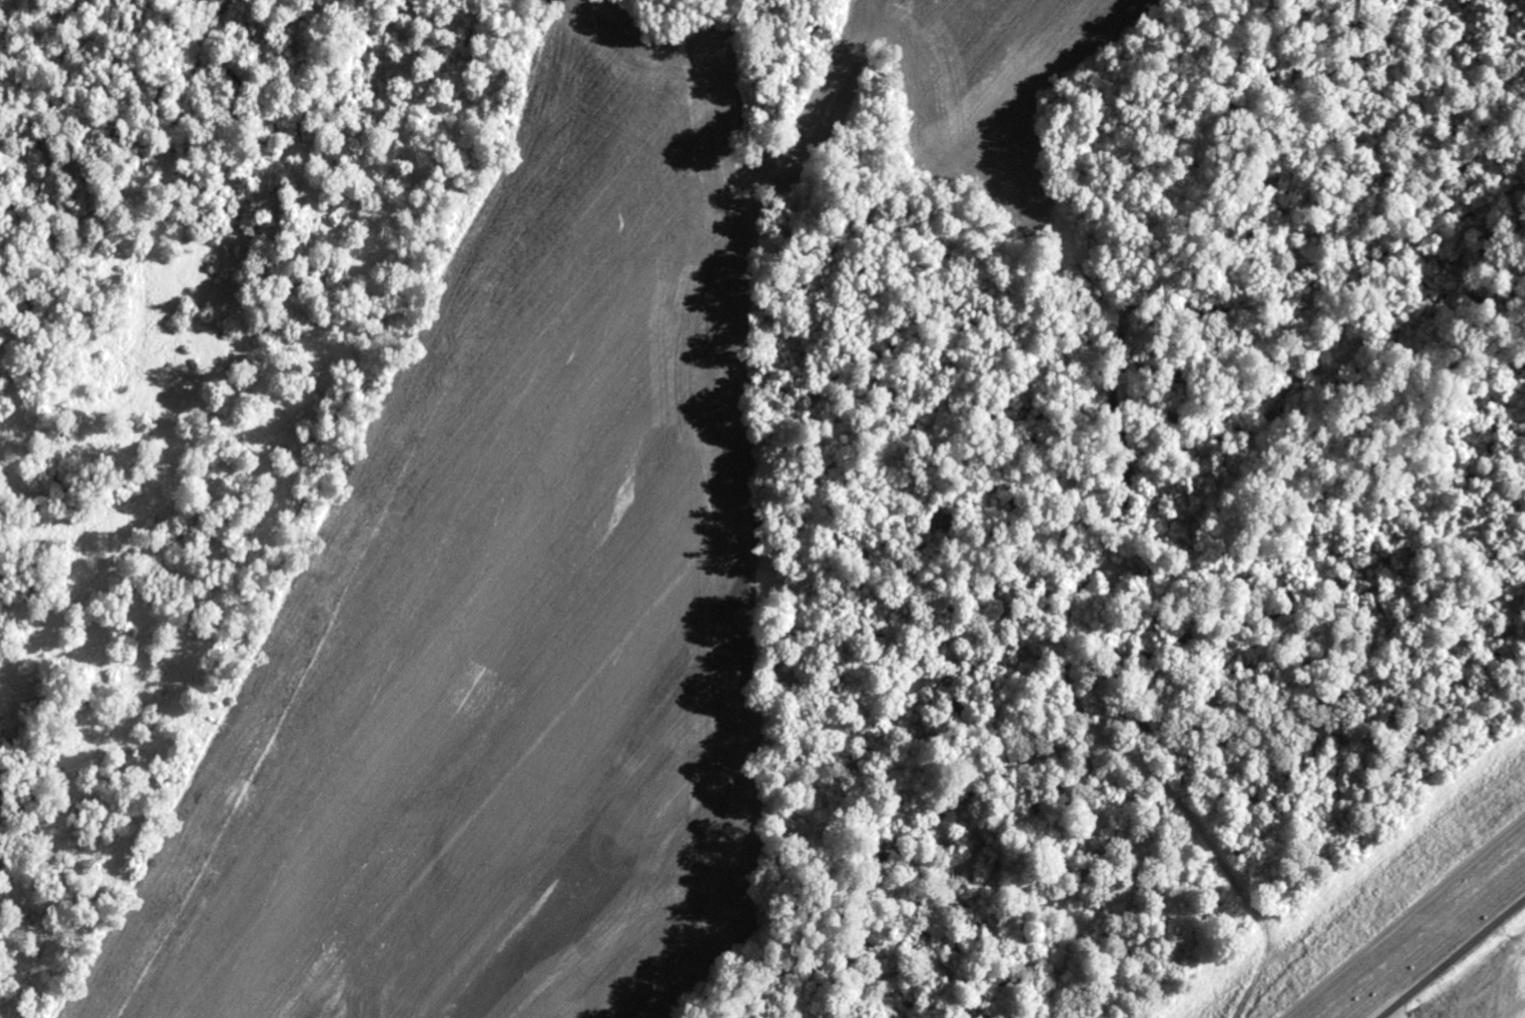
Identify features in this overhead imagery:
road: (1405, 919)
road: (1452, 958)

